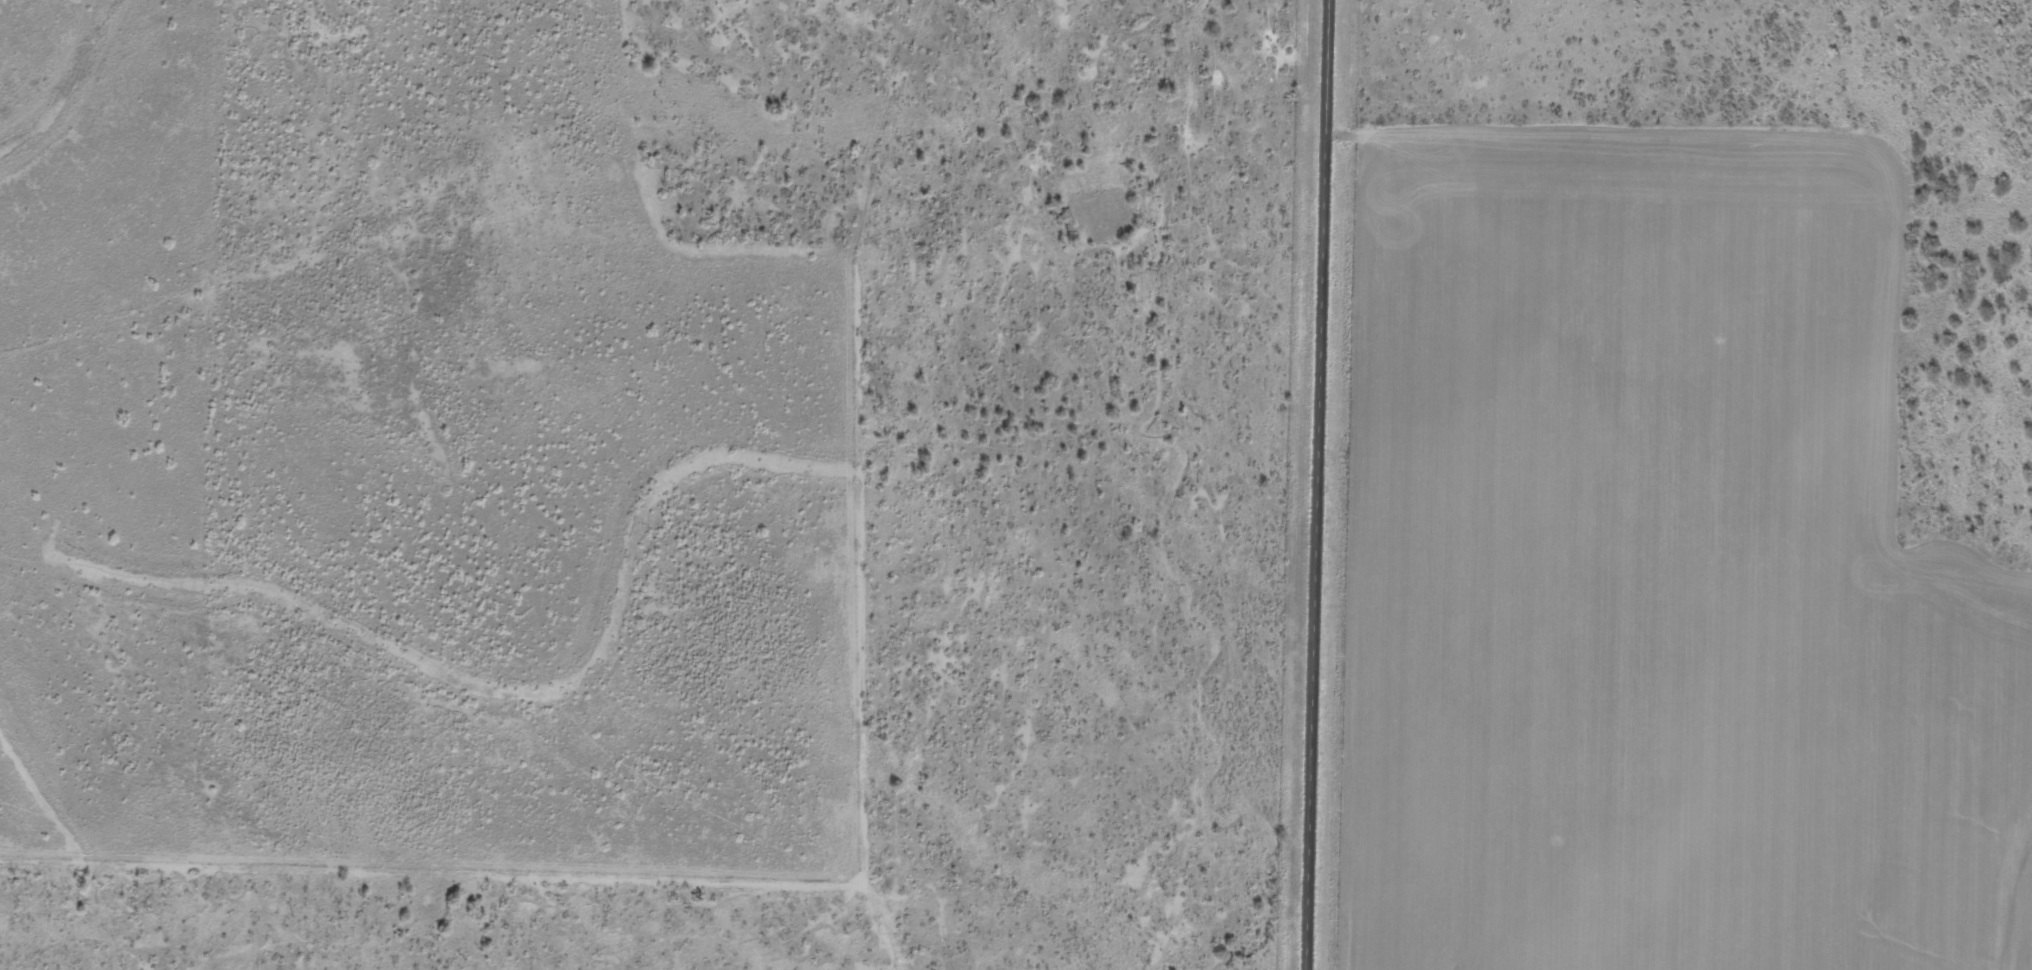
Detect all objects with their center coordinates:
road: (1314, 485)

